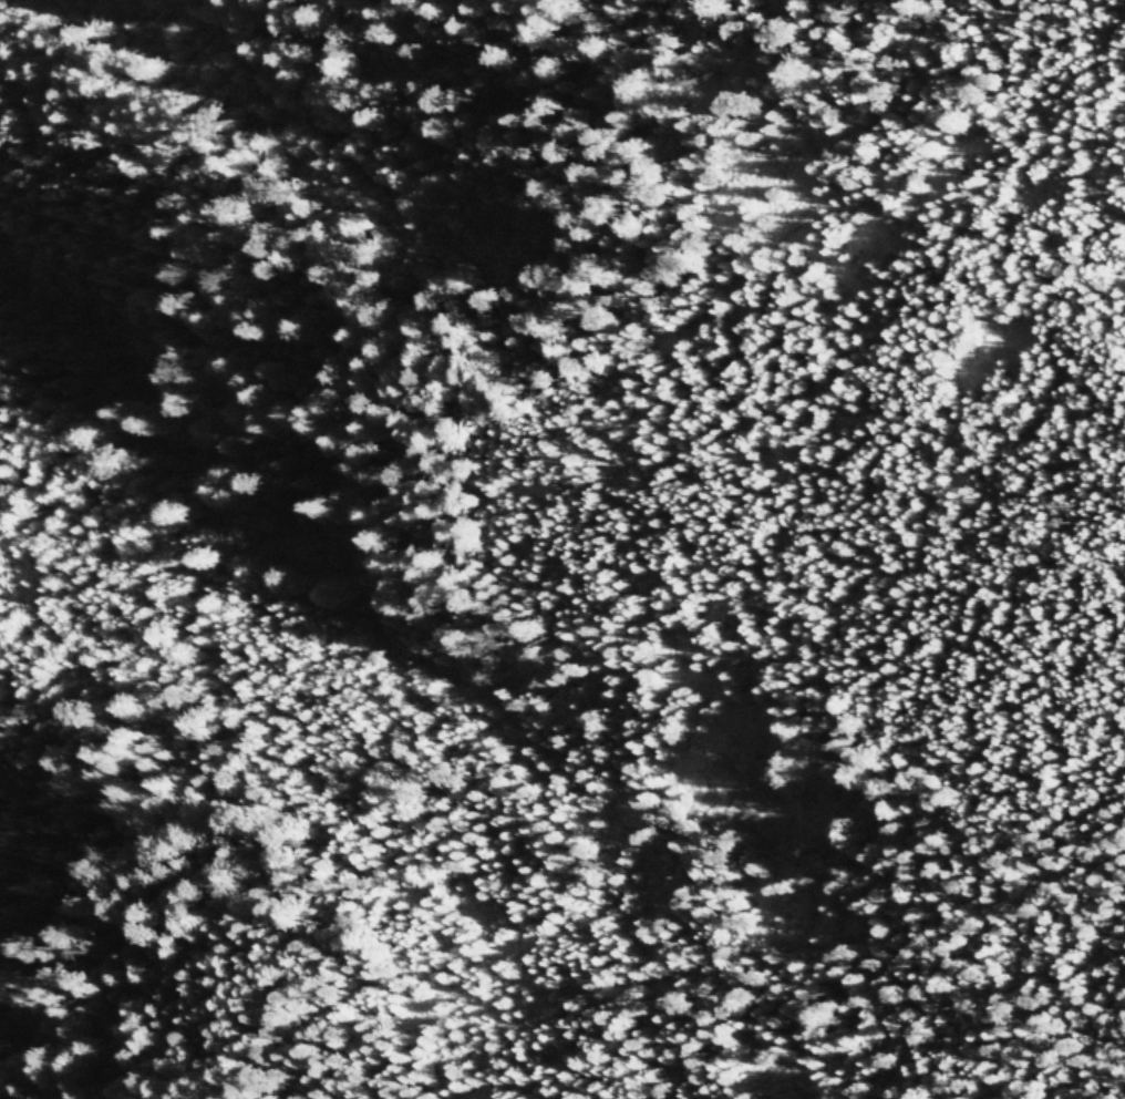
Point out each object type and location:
road: (1124, 590)

